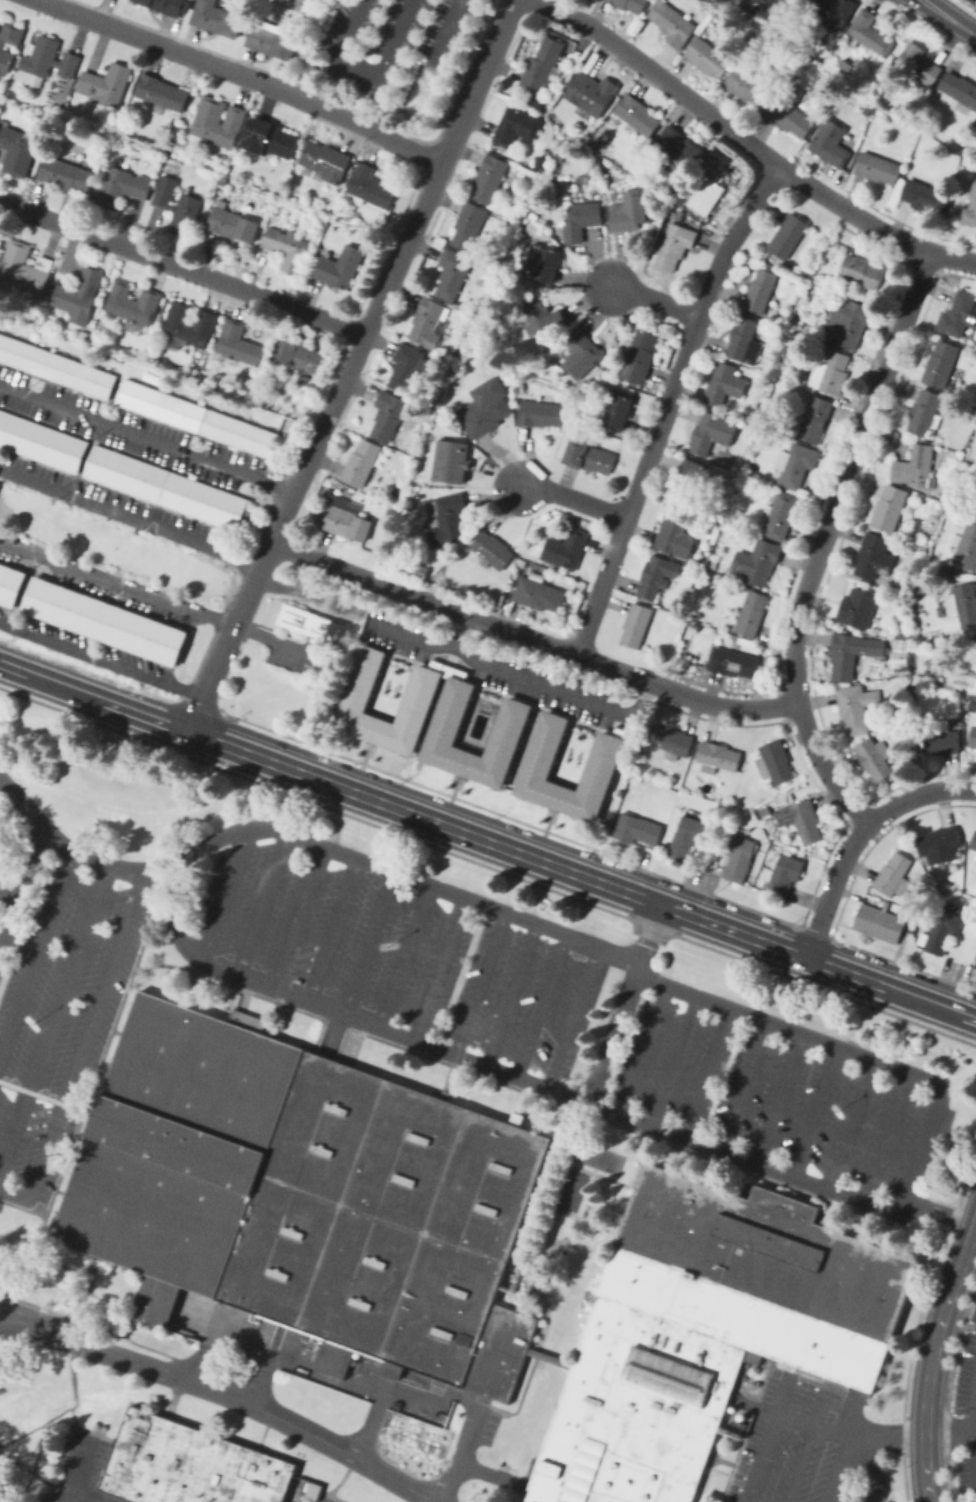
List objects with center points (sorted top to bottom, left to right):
building: (631, 4)
building: (166, 6)
street lamp: (431, 8)
building: (833, 10)
road: (948, 17)
building: (217, 18)
building: (672, 23)
street lamp: (371, 28)
road: (445, 30)
parking lot: (447, 30)
building: (869, 33)
building: (271, 40)
parking lot: (371, 41)
street lamp: (414, 46)
building: (4, 51)
building: (708, 57)
building: (822, 58)
building: (47, 61)
building: (802, 63)
building: (849, 64)
building: (919, 64)
road: (366, 67)
building: (542, 69)
road: (242, 76)
road: (479, 81)
building: (106, 83)
building: (748, 85)
building: (960, 91)
building: (161, 93)
building: (591, 93)
building: (64, 96)
road: (691, 98)
building: (918, 102)
building: (828, 103)
building: (867, 107)
building: (61, 111)
building: (821, 111)
building: (791, 112)
building: (637, 114)
building: (218, 122)
building: (516, 126)
building: (269, 138)
building: (831, 142)
building: (676, 148)
building: (17, 149)
building: (967, 152)
building: (558, 156)
building: (324, 162)
building: (968, 162)
building: (541, 164)
building: (878, 168)
building: (65, 174)
building: (605, 176)
building: (490, 178)
building: (122, 187)
building: (368, 188)
building: (188, 189)
building: (667, 194)
building: (924, 194)
building: (708, 196)
building: (266, 201)
building: (178, 206)
building: (279, 207)
building: (970, 207)
building: (628, 211)
building: (581, 221)
building: (233, 225)
building: (469, 225)
building: (788, 236)
road: (904, 244)
building: (675, 246)
building: (289, 248)
building: (546, 262)
road: (183, 267)
building: (339, 267)
building: (24, 268)
building: (861, 272)
building: (453, 273)
building: (504, 283)
building: (760, 290)
building: (79, 296)
road: (651, 297)
building: (133, 303)
building: (959, 314)
building: (544, 315)
building: (426, 320)
building: (848, 322)
building: (191, 323)
building: (791, 323)
building: (744, 341)
building: (240, 344)
building: (973, 345)
building: (581, 353)
building: (639, 355)
building: (300, 360)
building: (941, 364)
building: (55, 366)
building: (406, 367)
building: (830, 371)
building: (791, 376)
building: (725, 384)
building: (618, 406)
road: (663, 406)
building: (486, 408)
building: (925, 413)
building: (541, 414)
building: (388, 415)
building: (195, 416)
building: (816, 418)
building: (713, 432)
road: (146, 437)
building: (41, 441)
building: (428, 443)
road: (312, 446)
building: (590, 457)
building: (455, 460)
building: (361, 463)
building: (798, 465)
building: (915, 466)
road: (847, 477)
building: (689, 480)
building: (164, 486)
building: (413, 494)
road: (571, 499)
building: (889, 508)
building: (975, 510)
road: (129, 514)
building: (723, 515)
building: (780, 515)
building: (448, 519)
building: (346, 521)
building: (719, 524)
building: (675, 533)
building: (965, 546)
building: (566, 549)
building: (492, 551)
building: (875, 556)
building: (757, 562)
building: (714, 564)
building: (418, 570)
building: (657, 575)
building: (10, 584)
building: (539, 594)
road: (154, 598)
building: (966, 604)
building: (858, 608)
road: (458, 613)
building: (752, 614)
building: (104, 620)
building: (636, 624)
building: (316, 626)
building: (905, 635)
road: (423, 640)
building: (852, 653)
road: (102, 654)
building: (733, 662)
road: (554, 689)
building: (420, 691)
road: (94, 697)
road: (722, 706)
building: (856, 707)
building: (445, 724)
building: (973, 737)
building: (939, 738)
building: (671, 741)
building: (718, 757)
building: (603, 759)
building: (874, 759)
building: (775, 761)
road: (824, 769)
building: (765, 811)
building: (802, 820)
parking lot: (6, 827)
building: (637, 829)
building: (686, 837)
road: (859, 837)
building: (974, 842)
building: (940, 844)
road: (339, 852)
building: (739, 857)
building: (895, 875)
building: (784, 876)
road: (582, 877)
road: (21, 886)
building: (957, 886)
road: (9, 891)
road: (227, 893)
building: (937, 899)
road: (262, 902)
road: (298, 915)
building: (880, 923)
road: (332, 928)
building: (944, 929)
building: (975, 939)
road: (364, 940)
road: (37, 951)
road: (403, 954)
road: (438, 967)
building: (975, 967)
road: (480, 983)
road: (509, 993)
road: (541, 1005)
parking lot: (58, 1014)
road: (573, 1016)
road: (53, 1017)
parking lot: (572, 1018)
road: (333, 1030)
road: (615, 1034)
road: (84, 1046)
road: (847, 1046)
road: (645, 1047)
road: (674, 1058)
road: (705, 1070)
road: (537, 1082)
road: (747, 1085)
road: (780, 1097)
road: (815, 1109)
road: (849, 1122)
road: (888, 1136)
building: (306, 1197)
building: (706, 1331)
road: (198, 1356)
road: (931, 1356)
road: (71, 1375)
road: (260, 1379)
road: (355, 1389)
road: (781, 1391)
road: (224, 1393)
road: (818, 1408)
road: (973, 1409)
parking lot: (966, 1410)
road: (848, 1414)
road: (368, 1423)
road: (42, 1429)
road: (24, 1432)
road: (974, 1432)
road: (851, 1433)
parking lot: (808, 1446)
road: (760, 1457)
road: (974, 1460)
road: (79, 1463)
road: (799, 1463)
building: (189, 1465)
road: (872, 1466)
road: (841, 1467)
road: (491, 1470)
road: (452, 1487)
road: (76, 1490)

